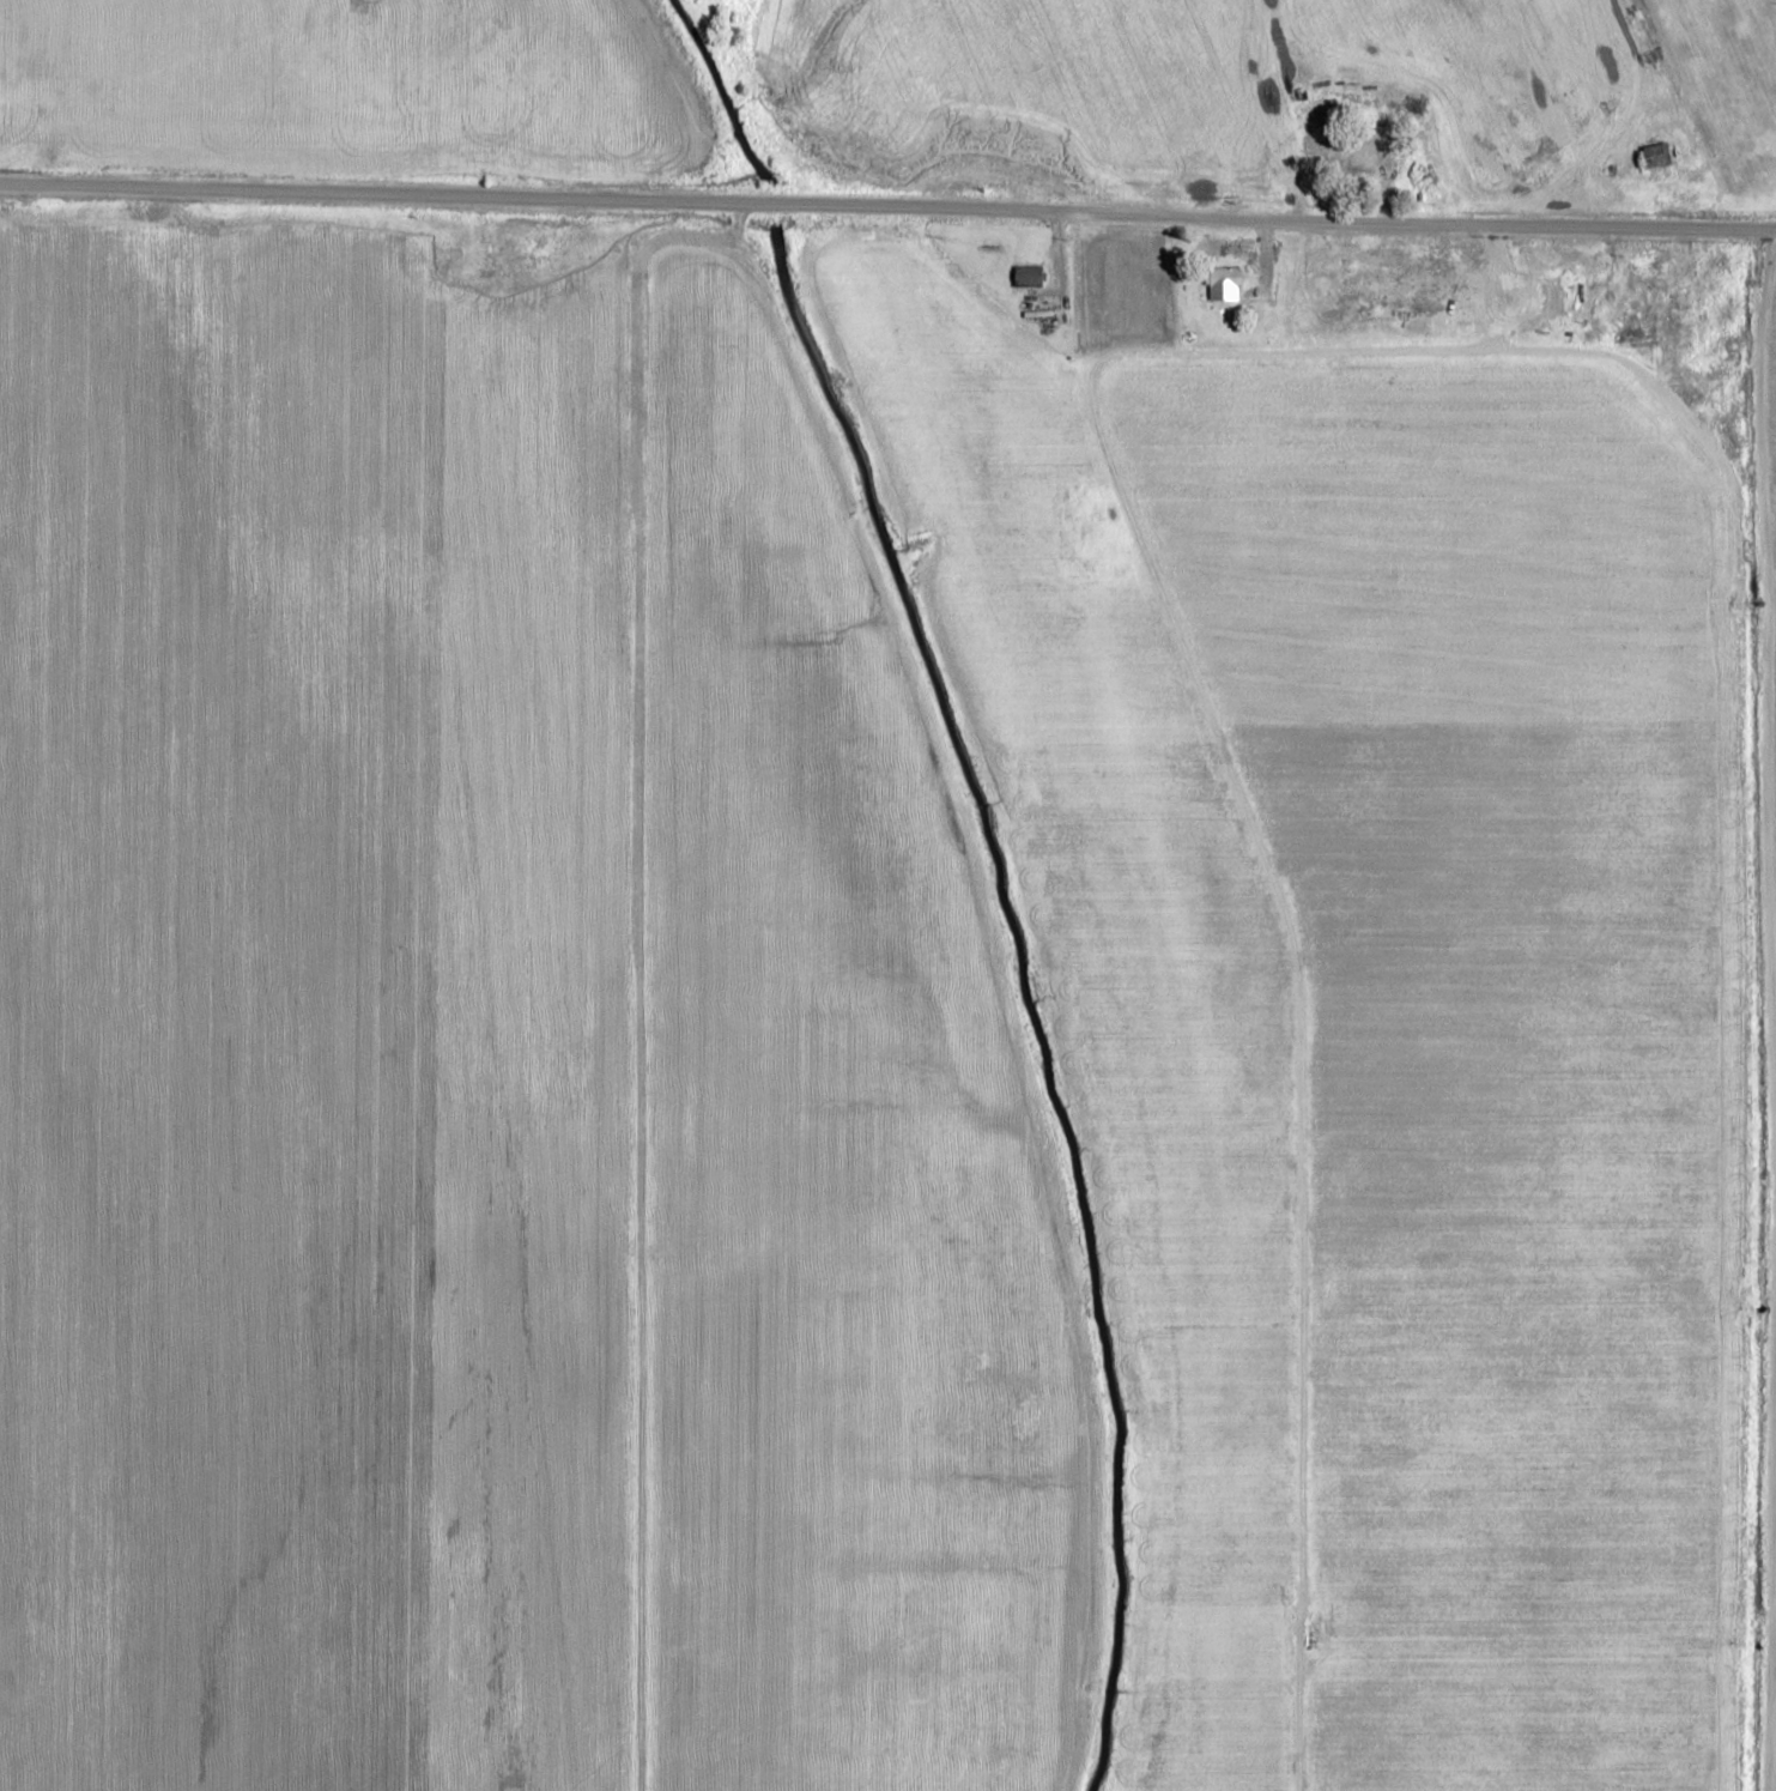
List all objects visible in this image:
road: (1284, 109)
building: (1660, 156)
building: (1372, 161)
road: (1703, 180)
road: (887, 210)
building: (1031, 277)
building: (1225, 283)
building: (1711, 309)

